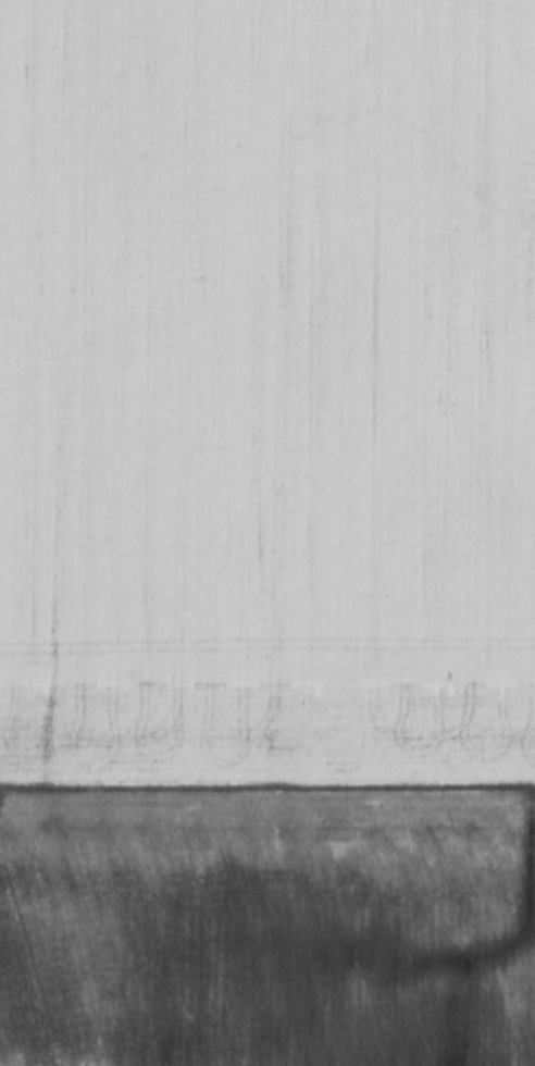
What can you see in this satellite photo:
crop: (266, 386)
crop: (267, 928)

